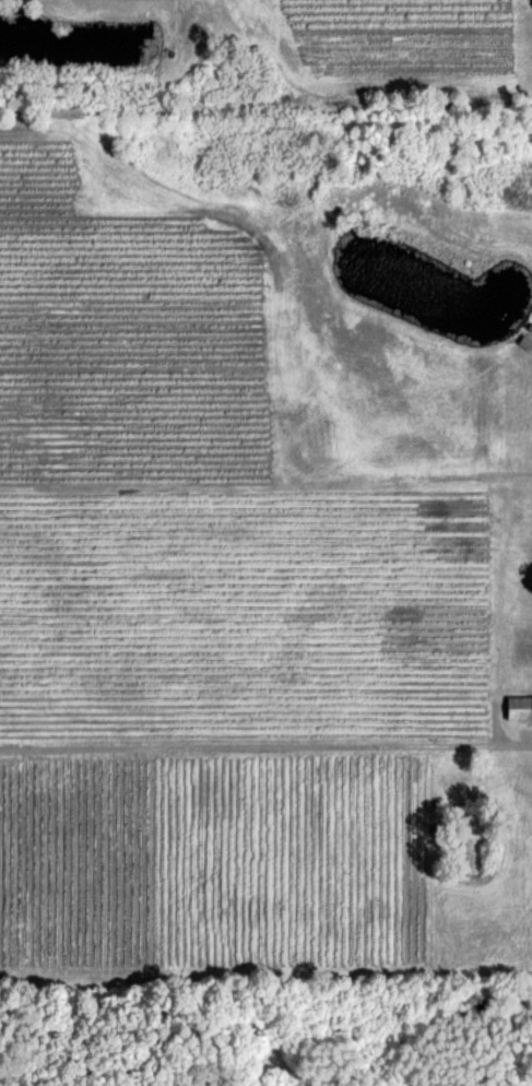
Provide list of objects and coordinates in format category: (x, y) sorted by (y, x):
building: (517, 707)

